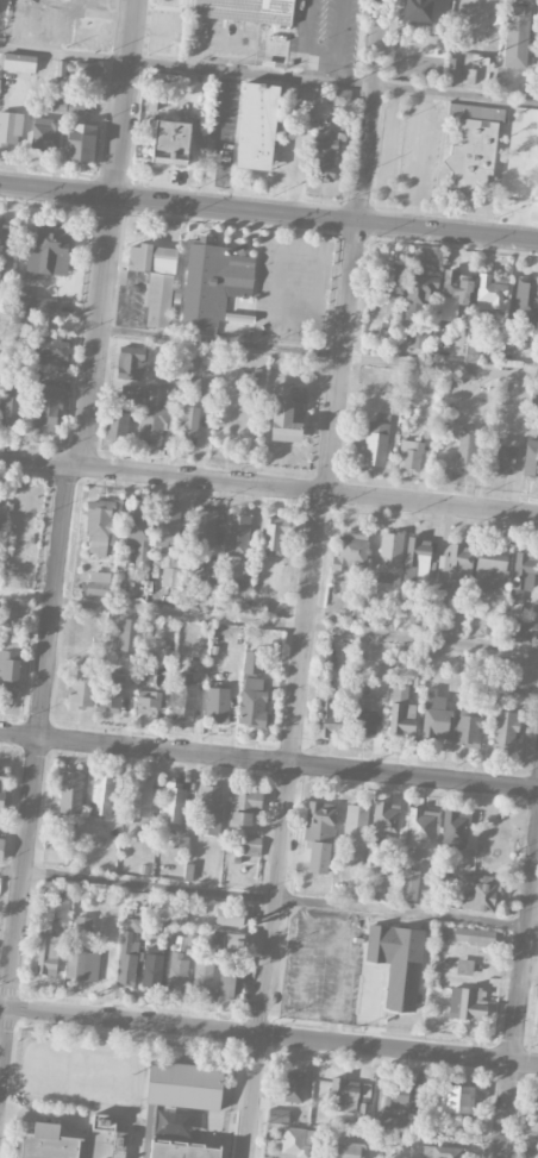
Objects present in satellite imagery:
building: (245, 10)
building: (415, 12)
building: (514, 36)
building: (476, 43)
building: (20, 62)
building: (87, 75)
road: (268, 75)
building: (340, 96)
building: (75, 104)
building: (302, 114)
building: (257, 125)
building: (10, 127)
building: (44, 133)
building: (170, 140)
building: (80, 142)
building: (473, 149)
building: (324, 155)
building: (514, 181)
building: (536, 196)
road: (269, 211)
road: (111, 233)
building: (4, 236)
road: (355, 246)
building: (44, 263)
building: (155, 278)
building: (213, 280)
building: (392, 281)
building: (419, 288)
building: (455, 288)
building: (490, 292)
building: (525, 299)
building: (415, 340)
road: (269, 346)
building: (51, 348)
building: (477, 349)
building: (131, 362)
building: (207, 383)
building: (130, 389)
building: (392, 392)
building: (534, 396)
building: (114, 399)
building: (10, 406)
building: (49, 411)
building: (287, 412)
building: (155, 417)
building: (188, 424)
building: (115, 426)
building: (375, 438)
building: (464, 447)
building: (409, 455)
building: (503, 455)
building: (531, 457)
road: (268, 487)
building: (2, 508)
building: (100, 525)
building: (168, 526)
building: (205, 528)
building: (137, 532)
building: (236, 534)
building: (274, 537)
building: (350, 551)
building: (389, 556)
building: (418, 557)
building: (456, 561)
building: (169, 567)
building: (208, 570)
building: (489, 571)
building: (520, 576)
building: (95, 587)
building: (242, 587)
building: (442, 597)
building: (8, 612)
building: (415, 620)
road: (268, 622)
building: (523, 632)
building: (125, 634)
building: (198, 665)
building: (8, 668)
building: (493, 683)
building: (376, 687)
building: (252, 688)
building: (80, 689)
building: (113, 693)
building: (184, 695)
building: (150, 702)
building: (217, 705)
building: (401, 715)
building: (330, 719)
building: (364, 721)
building: (449, 721)
building: (505, 728)
road: (268, 762)
road: (37, 774)
building: (1, 784)
building: (70, 791)
building: (101, 794)
building: (139, 801)
building: (173, 801)
building: (244, 807)
building: (209, 809)
building: (384, 820)
road: (283, 825)
building: (421, 828)
building: (453, 828)
building: (318, 834)
building: (354, 834)
building: (0, 847)
building: (249, 847)
building: (389, 866)
building: (408, 883)
building: (482, 894)
road: (269, 899)
building: (61, 907)
building: (230, 916)
building: (82, 924)
building: (473, 934)
building: (227, 939)
building: (180, 943)
building: (46, 954)
building: (396, 962)
building: (126, 963)
building: (82, 965)
building: (152, 966)
building: (464, 966)
building: (177, 970)
building: (202, 976)
building: (230, 984)
road: (519, 1000)
building: (467, 1002)
building: (537, 1019)
road: (268, 1035)
building: (184, 1085)
building: (349, 1090)
building: (286, 1096)
building: (395, 1096)
building: (423, 1096)
building: (455, 1098)
road: (377, 1103)
building: (363, 1112)
building: (533, 1116)
building: (392, 1123)
building: (173, 1125)
building: (73, 1141)
building: (296, 1141)
building: (181, 1150)
building: (348, 1150)
building: (442, 1152)

